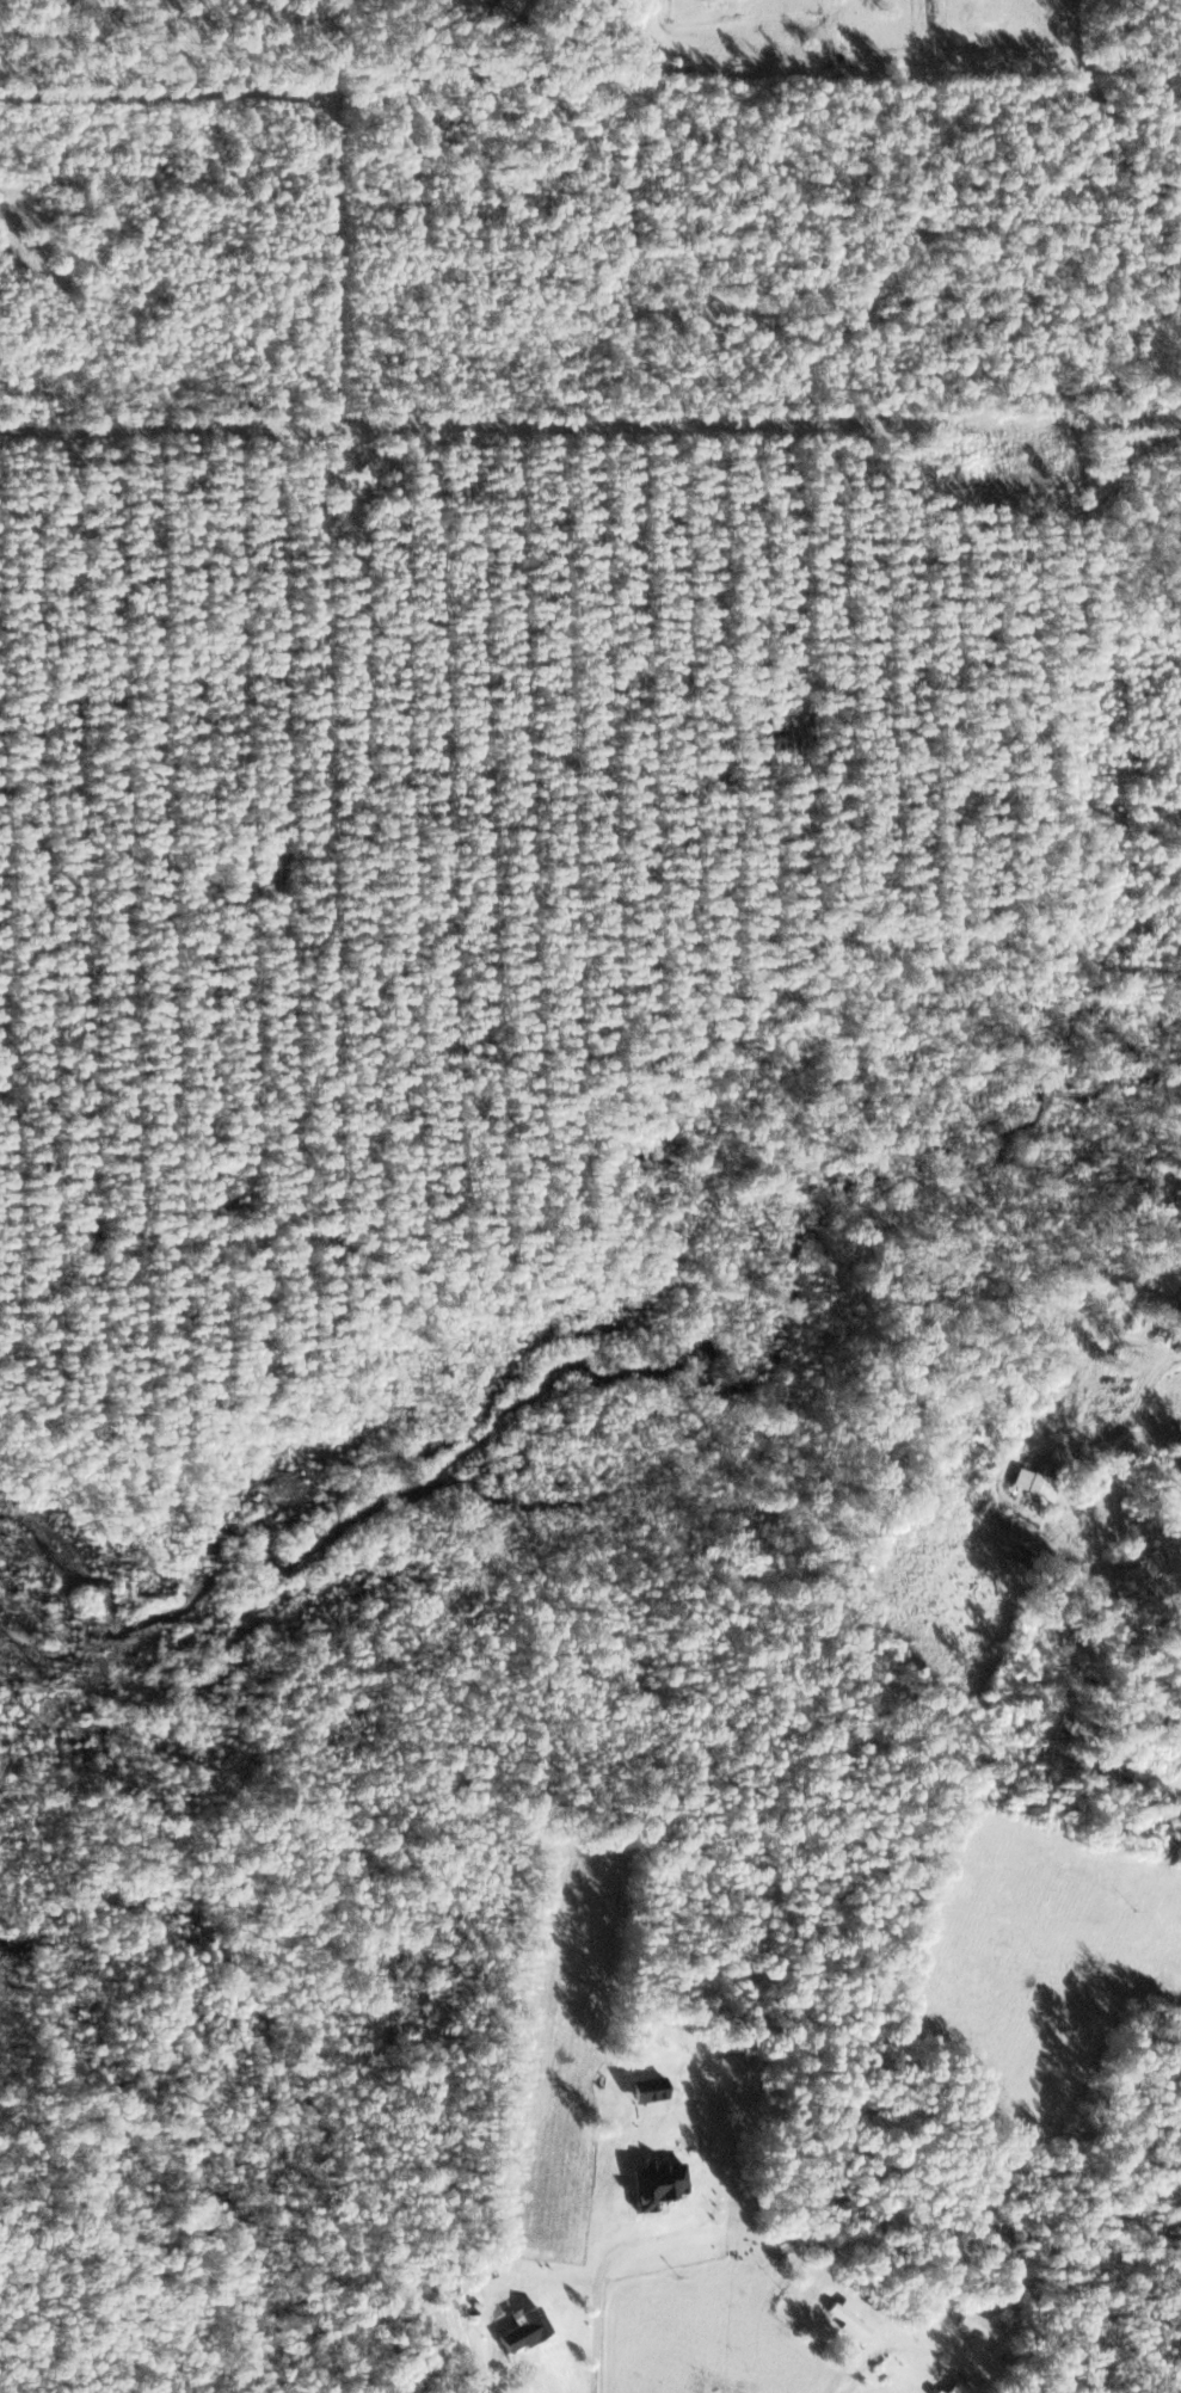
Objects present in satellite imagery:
road: (192, 70)
building: (1161, 1303)
building: (1037, 1481)
road: (1101, 1757)
road: (737, 2254)
building: (845, 2318)
building: (524, 2332)
building: (959, 2388)
building: (939, 2392)

